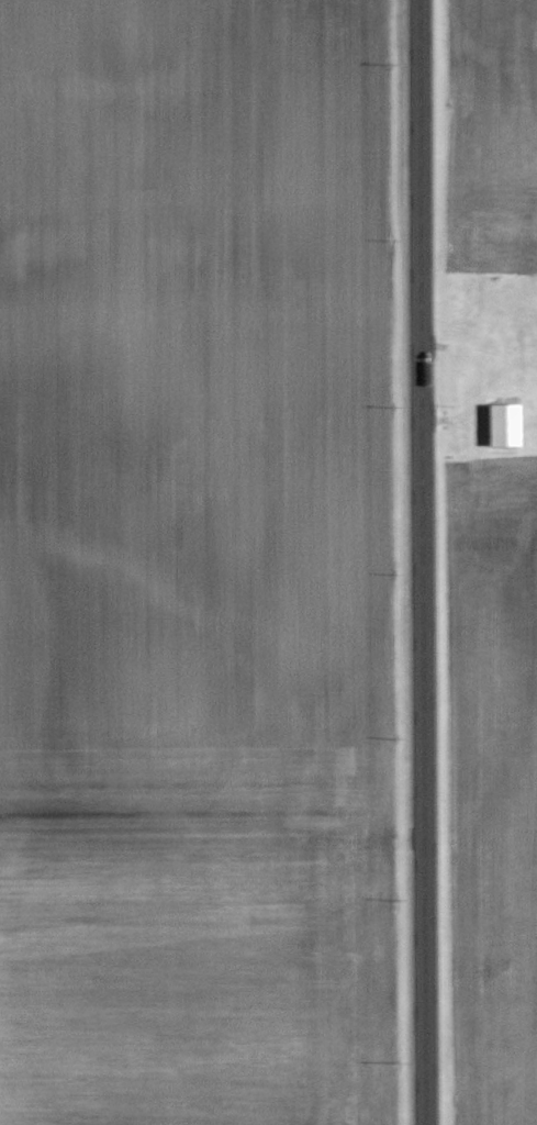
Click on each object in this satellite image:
building: (503, 423)
road: (424, 562)

